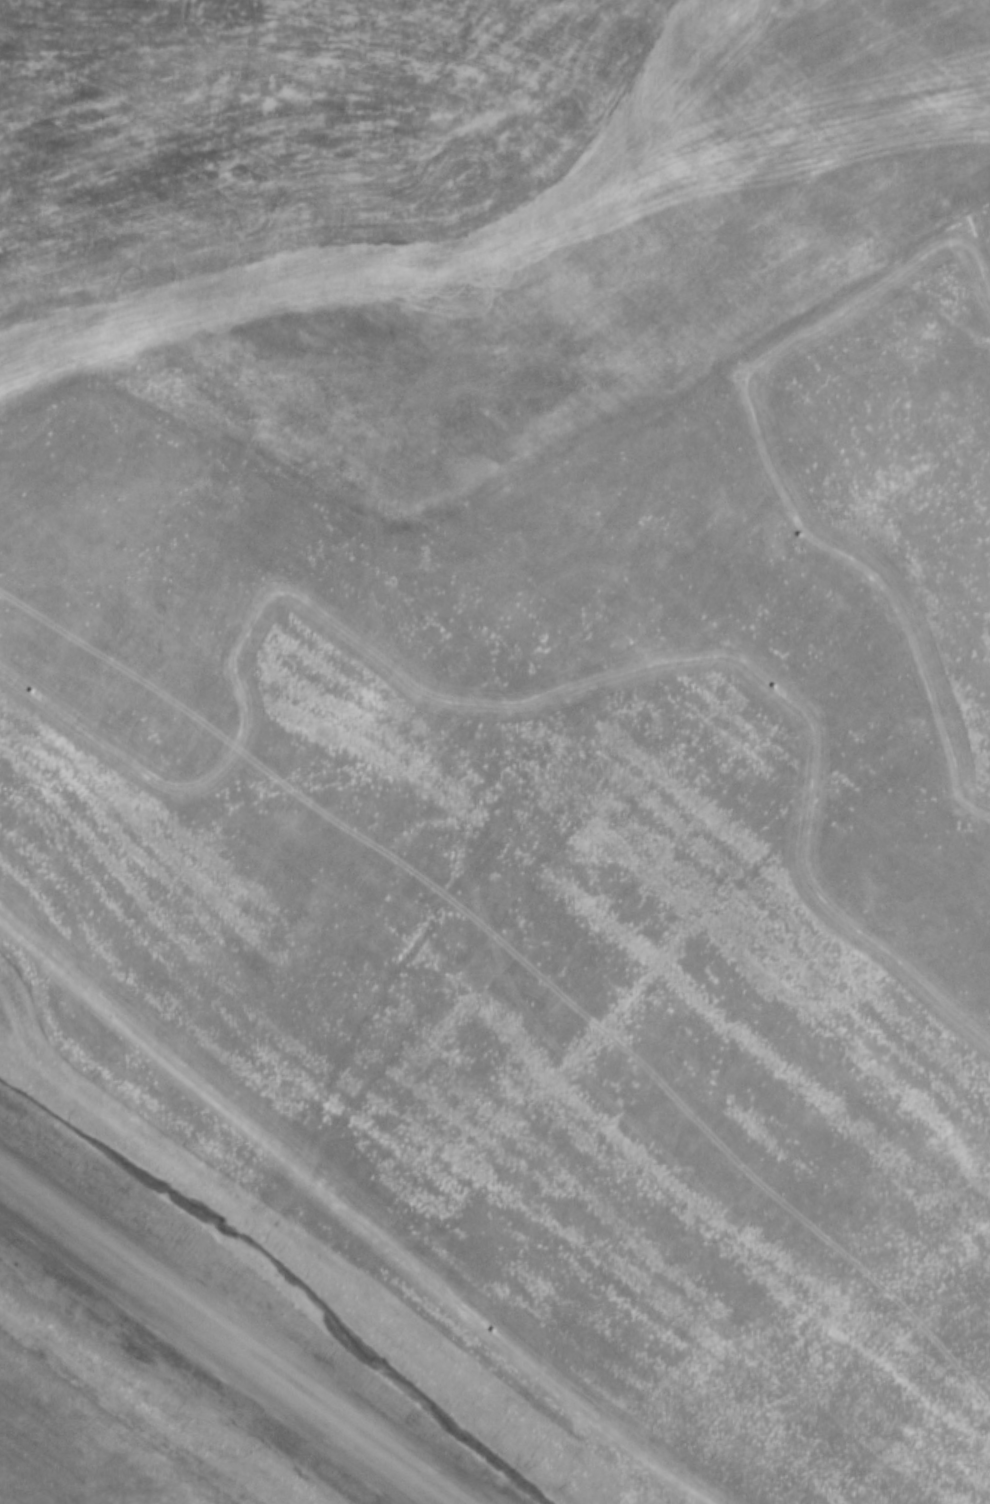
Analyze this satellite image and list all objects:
quarry: (579, 399)

